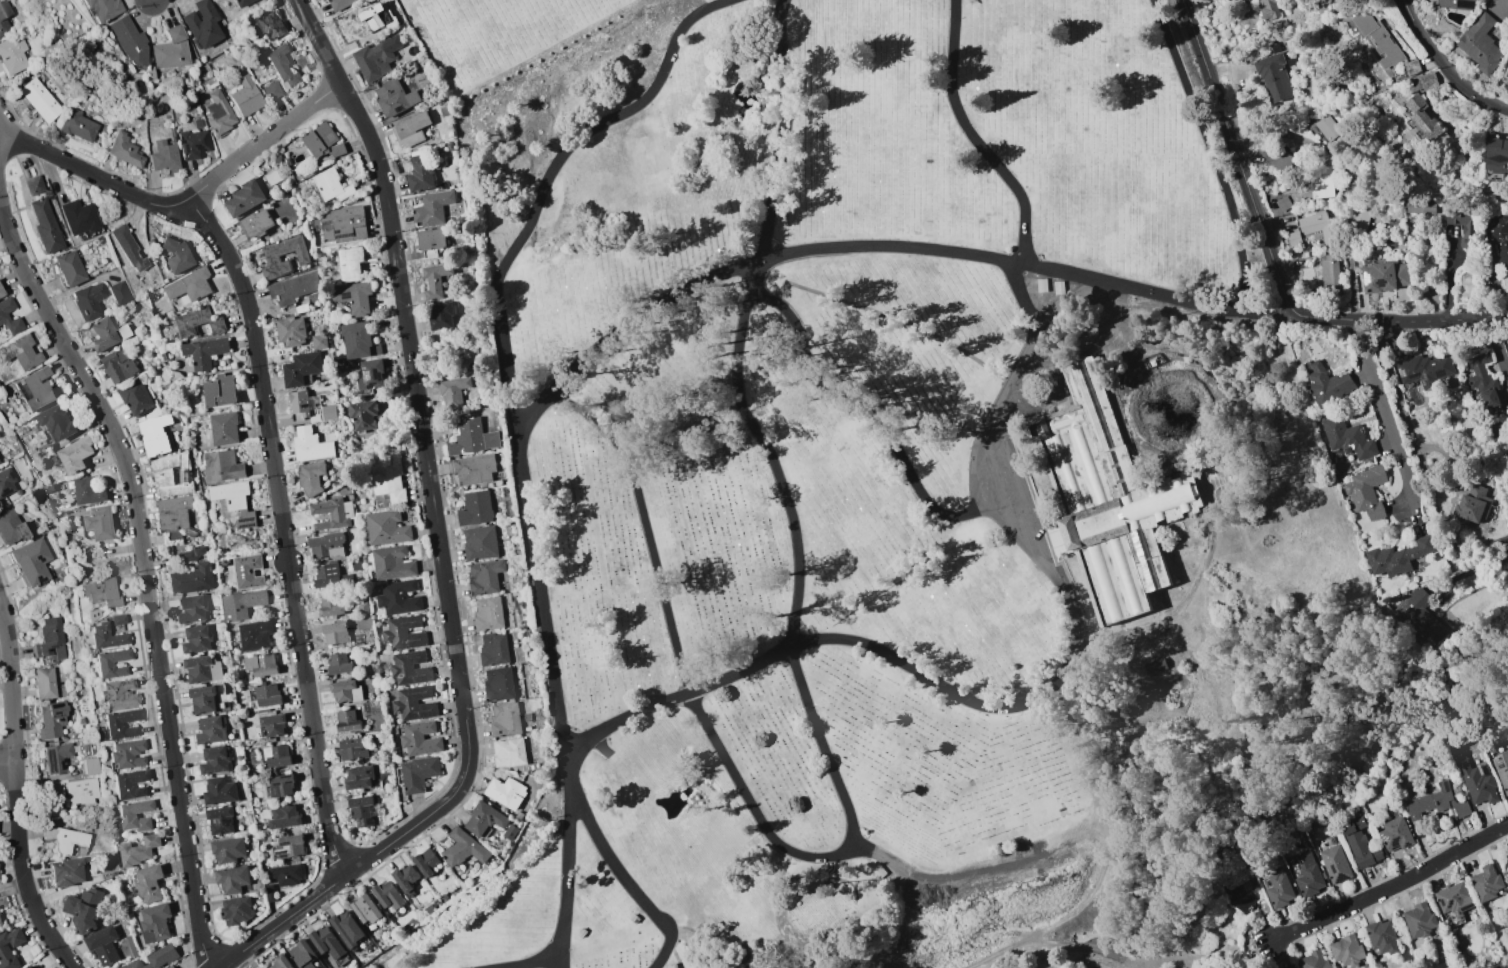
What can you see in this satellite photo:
building: (322, 0)
building: (241, 2)
building: (340, 4)
building: (1458, 4)
building: (103, 8)
building: (1268, 9)
building: (381, 17)
building: (5, 19)
building: (202, 23)
building: (268, 24)
building: (403, 26)
building: (1374, 38)
building: (129, 40)
building: (1480, 44)
building: (171, 49)
building: (14, 53)
building: (374, 60)
building: (283, 66)
road: (1443, 66)
building: (1411, 67)
building: (150, 72)
building: (1506, 75)
building: (1274, 78)
building: (1422, 81)
building: (273, 91)
building: (246, 97)
building: (395, 97)
building: (40, 100)
building: (443, 108)
building: (220, 114)
building: (1424, 120)
building: (199, 123)
building: (127, 124)
building: (78, 125)
building: (105, 127)
building: (1326, 128)
building: (411, 129)
road: (262, 140)
building: (323, 141)
building: (192, 143)
road: (31, 144)
building: (449, 146)
building: (125, 150)
road: (1214, 151)
building: (1495, 154)
building: (164, 155)
road: (1242, 158)
building: (1276, 158)
building: (277, 159)
road: (78, 167)
building: (422, 172)
building: (1355, 180)
building: (1320, 184)
building: (34, 185)
road: (114, 185)
building: (332, 186)
road: (139, 198)
building: (245, 198)
road: (167, 205)
building: (1419, 206)
building: (433, 208)
building: (79, 217)
building: (1357, 219)
building: (256, 224)
building: (344, 224)
building: (1316, 225)
building: (1462, 226)
building: (46, 227)
building: (431, 241)
building: (1499, 241)
building: (128, 247)
road: (14, 248)
road: (884, 250)
building: (178, 254)
building: (272, 257)
building: (350, 263)
building: (70, 268)
building: (1329, 272)
building: (1383, 277)
building: (436, 279)
building: (190, 285)
building: (293, 288)
building: (1, 291)
building: (120, 293)
building: (354, 296)
building: (90, 301)
building: (306, 308)
building: (440, 316)
building: (4, 318)
building: (198, 322)
road: (1402, 322)
building: (125, 331)
building: (291, 331)
building: (104, 334)
building: (359, 340)
building: (319, 341)
building: (1507, 345)
road: (407, 350)
building: (21, 352)
building: (205, 352)
road: (68, 353)
building: (162, 357)
building: (118, 366)
building: (302, 369)
building: (1423, 370)
building: (370, 376)
building: (1482, 376)
building: (1327, 385)
building: (38, 389)
building: (220, 391)
building: (453, 392)
building: (136, 398)
building: (303, 402)
building: (328, 411)
building: (365, 414)
road: (1382, 416)
road: (878, 419)
building: (56, 422)
building: (225, 428)
building: (155, 435)
building: (472, 438)
building: (1347, 438)
building: (310, 445)
building: (49, 446)
road: (525, 451)
building: (75, 455)
road: (122, 459)
building: (222, 466)
building: (473, 469)
building: (172, 474)
building: (311, 477)
building: (388, 483)
building: (60, 486)
park: (895, 486)
building: (6, 487)
building: (49, 489)
building: (88, 491)
building: (1366, 491)
road: (275, 493)
building: (38, 496)
building: (349, 497)
building: (235, 502)
building: (1114, 505)
building: (1472, 505)
building: (475, 509)
building: (332, 513)
building: (175, 518)
building: (100, 522)
building: (13, 527)
building: (387, 528)
road: (138, 533)
building: (480, 542)
building: (327, 545)
building: (191, 555)
building: (1397, 557)
building: (33, 562)
building: (393, 563)
building: (356, 564)
building: (247, 571)
building: (327, 575)
building: (484, 576)
building: (193, 579)
road: (145, 582)
road: (1064, 588)
building: (104, 592)
building: (399, 598)
building: (242, 605)
building: (331, 605)
building: (362, 607)
building: (193, 609)
building: (488, 613)
building: (1419, 618)
building: (119, 619)
building: (363, 622)
building: (335, 633)
building: (404, 633)
building: (107, 636)
building: (255, 636)
building: (198, 639)
building: (52, 640)
building: (493, 649)
building: (383, 657)
building: (105, 663)
building: (339, 664)
building: (262, 665)
building: (1154, 666)
building: (410, 668)
building: (202, 669)
building: (46, 683)
building: (498, 683)
building: (227, 687)
building: (346, 691)
building: (120, 693)
building: (266, 695)
building: (203, 699)
building: (415, 704)
road: (811, 712)
building: (53, 719)
building: (504, 719)
building: (347, 722)
building: (121, 723)
building: (274, 724)
building: (212, 730)
road: (12, 739)
building: (420, 739)
building: (353, 748)
building: (508, 752)
building: (127, 754)
building: (277, 755)
building: (57, 757)
building: (216, 760)
road: (7, 761)
building: (384, 765)
building: (91, 766)
building: (1501, 770)
building: (417, 774)
building: (359, 777)
building: (1477, 782)
building: (131, 784)
road: (175, 784)
building: (280, 785)
building: (56, 790)
building: (83, 791)
building: (220, 791)
building: (505, 792)
building: (1437, 803)
building: (248, 806)
building: (363, 810)
building: (128, 815)
building: (285, 817)
building: (484, 819)
building: (220, 820)
building: (1394, 834)
building: (65, 838)
road: (330, 840)
building: (1360, 843)
building: (289, 847)
building: (463, 848)
building: (138, 850)
building: (228, 850)
road: (1075, 851)
road: (368, 857)
building: (426, 862)
building: (1335, 864)
building: (68, 872)
building: (286, 874)
building: (881, 874)
building: (1308, 874)
building: (0, 877)
building: (406, 877)
building: (233, 878)
building: (107, 881)
road: (629, 881)
building: (1486, 882)
building: (149, 883)
road: (1392, 888)
building: (1278, 889)
building: (270, 892)
building: (388, 895)
building: (444, 896)
building: (1241, 901)
building: (2, 903)
building: (1453, 903)
building: (366, 909)
building: (429, 909)
building: (85, 910)
building: (236, 910)
building: (1418, 920)
building: (0, 922)
building: (156, 922)
road: (42, 924)
building: (348, 928)
building: (1381, 937)
building: (327, 942)
building: (104, 945)
building: (4, 946)
building: (132, 946)
building: (1346, 951)
building: (304, 954)
building: (156, 958)
building: (1312, 960)
road: (565, 961)
building: (281, 962)
building: (29, 967)
building: (172, 967)

